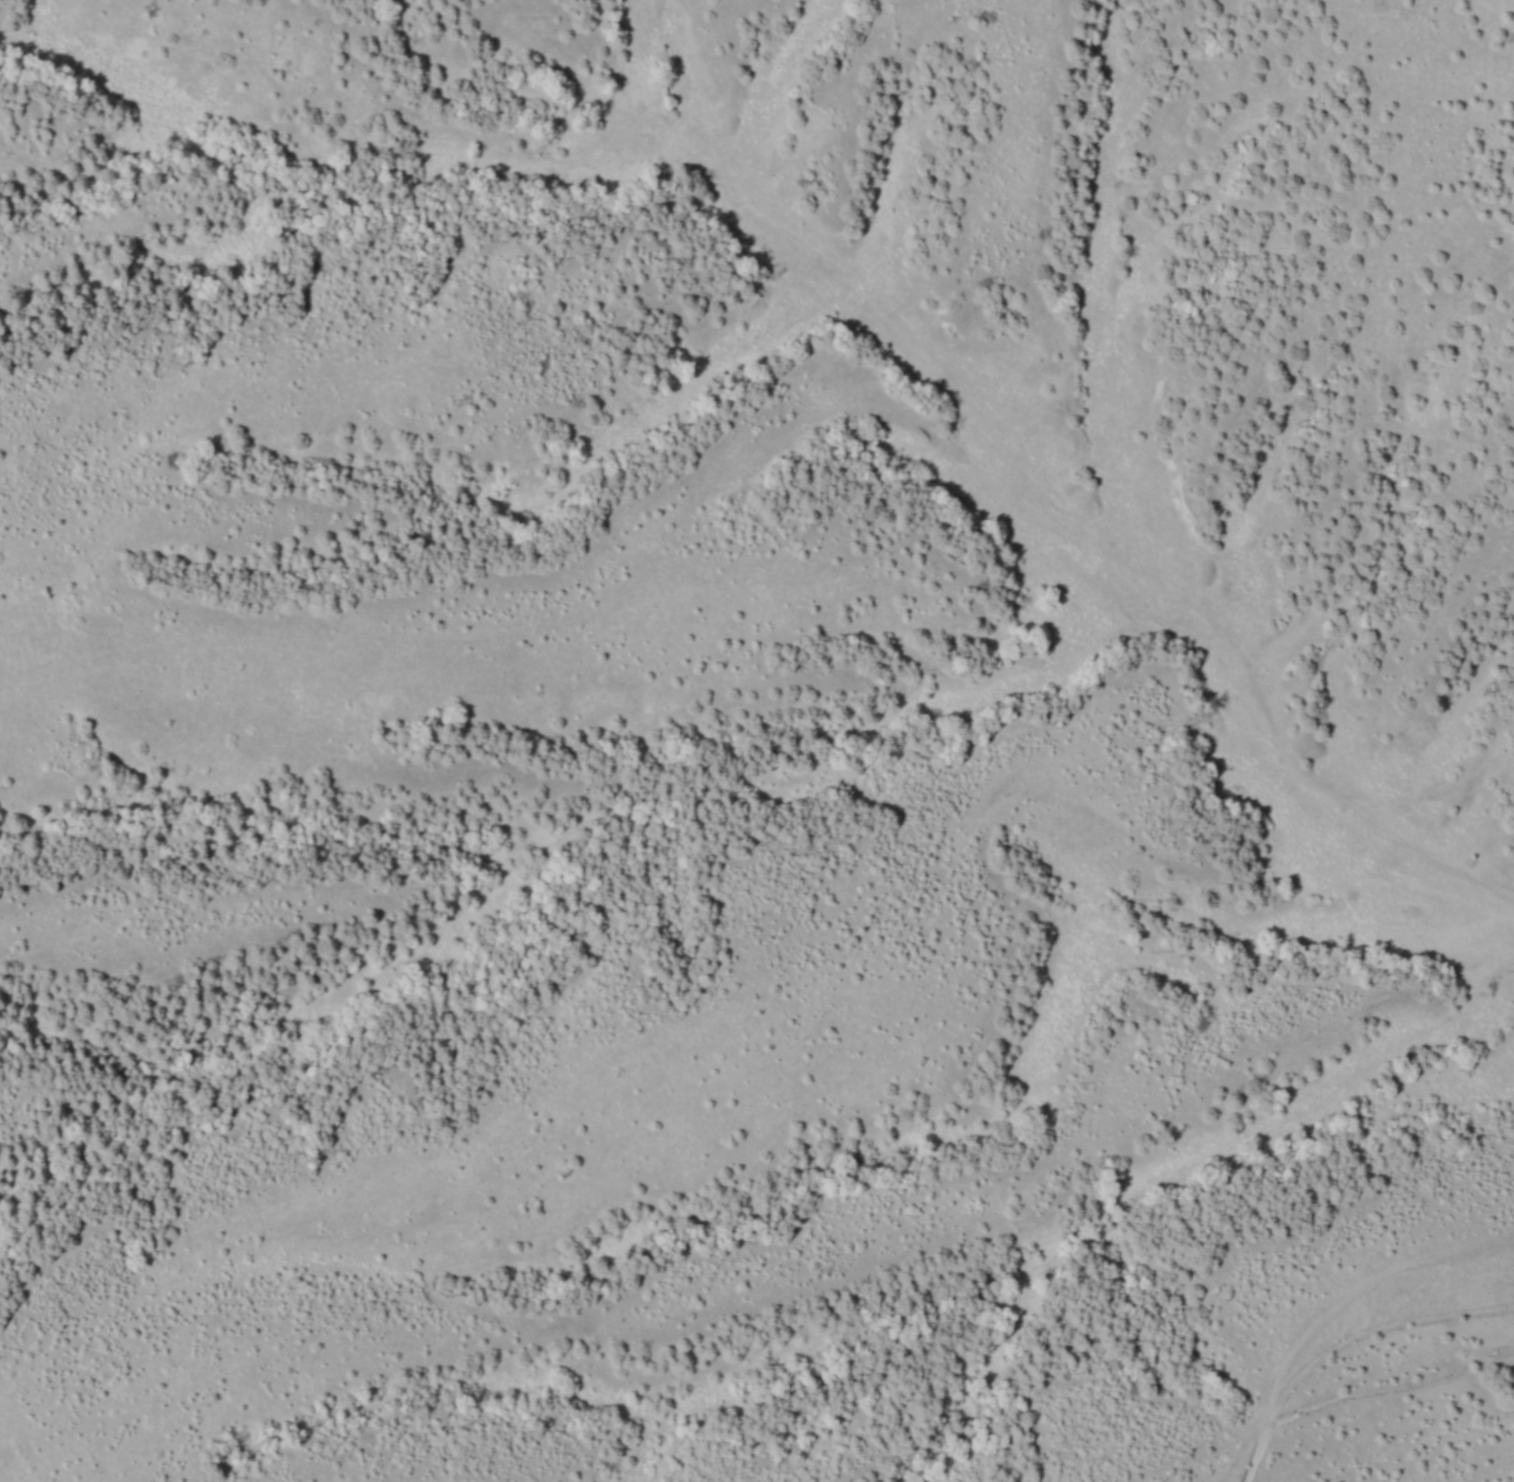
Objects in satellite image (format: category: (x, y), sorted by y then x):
road: (1331, 1308)

